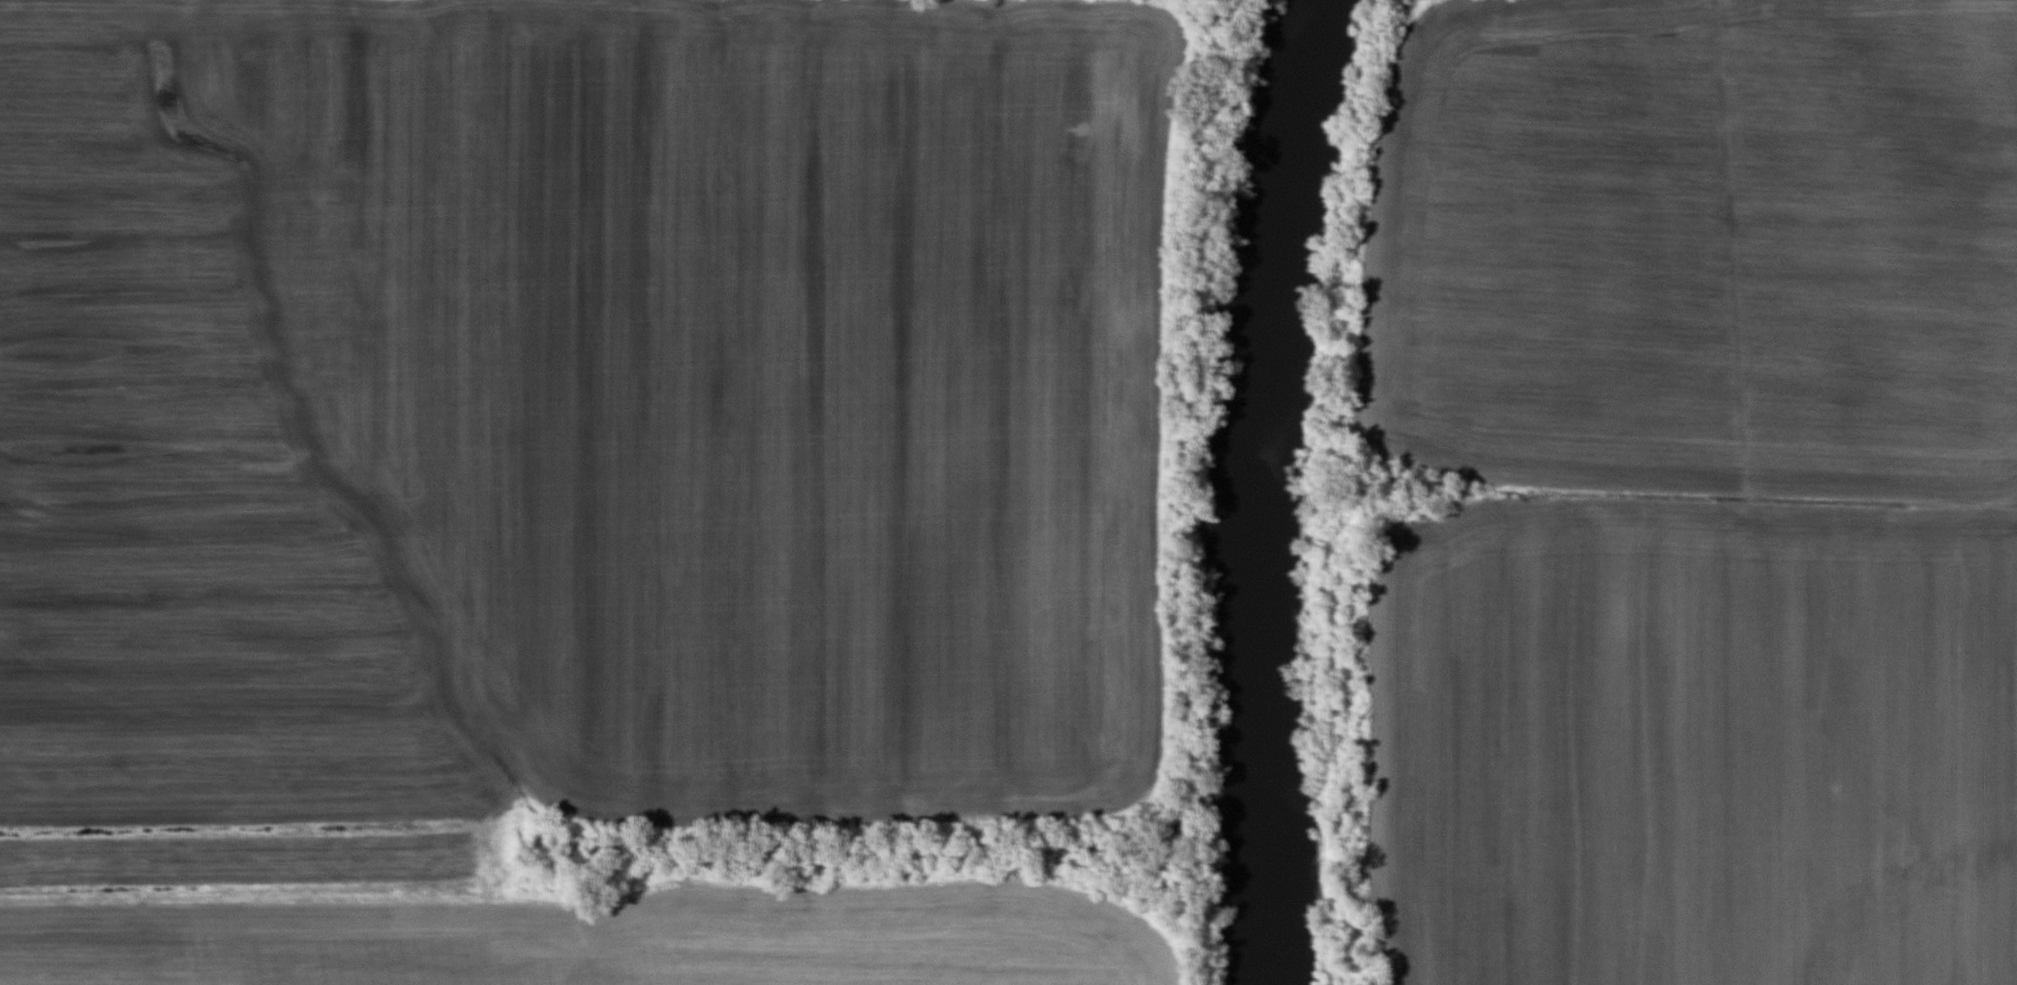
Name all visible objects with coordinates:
river: (1249, 491)

